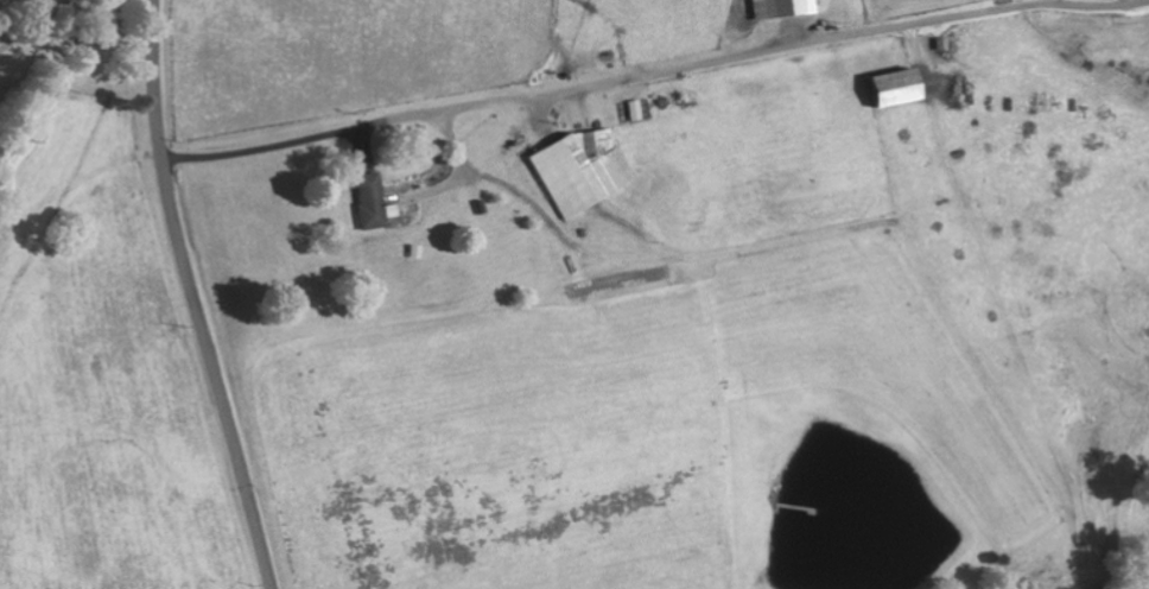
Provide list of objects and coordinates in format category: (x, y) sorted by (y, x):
building: (779, 7)
building: (887, 85)
building: (578, 169)
building: (367, 201)
road: (193, 297)
road: (93, 486)

